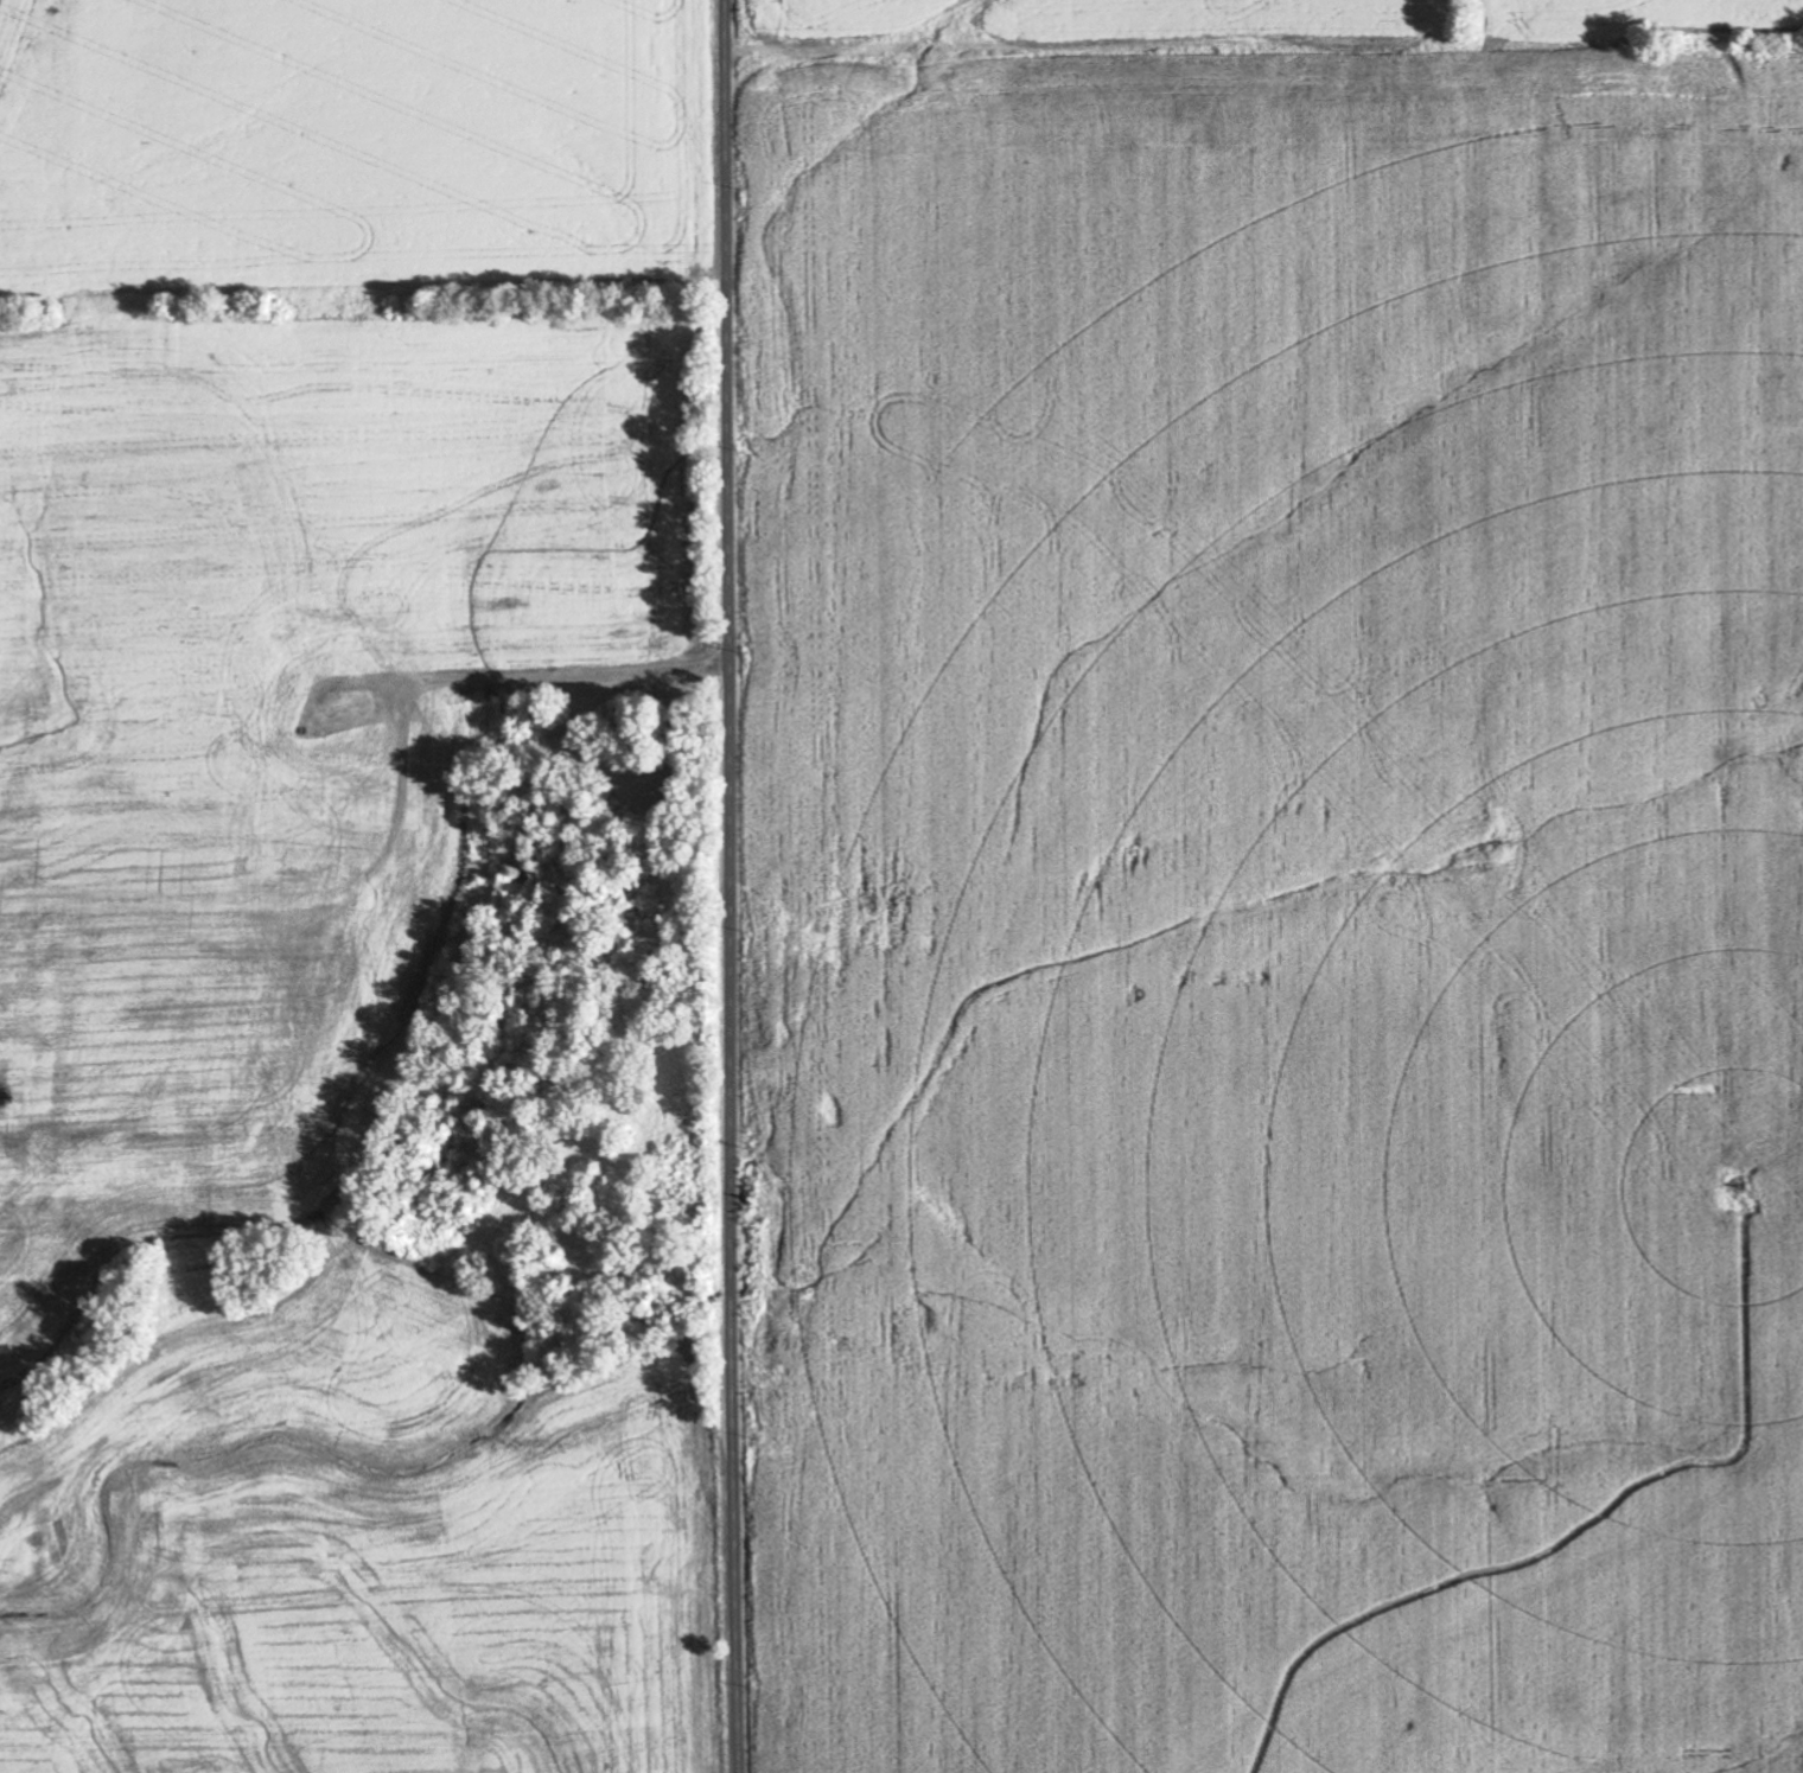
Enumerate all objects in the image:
road: (1256, 21)
road: (733, 886)

